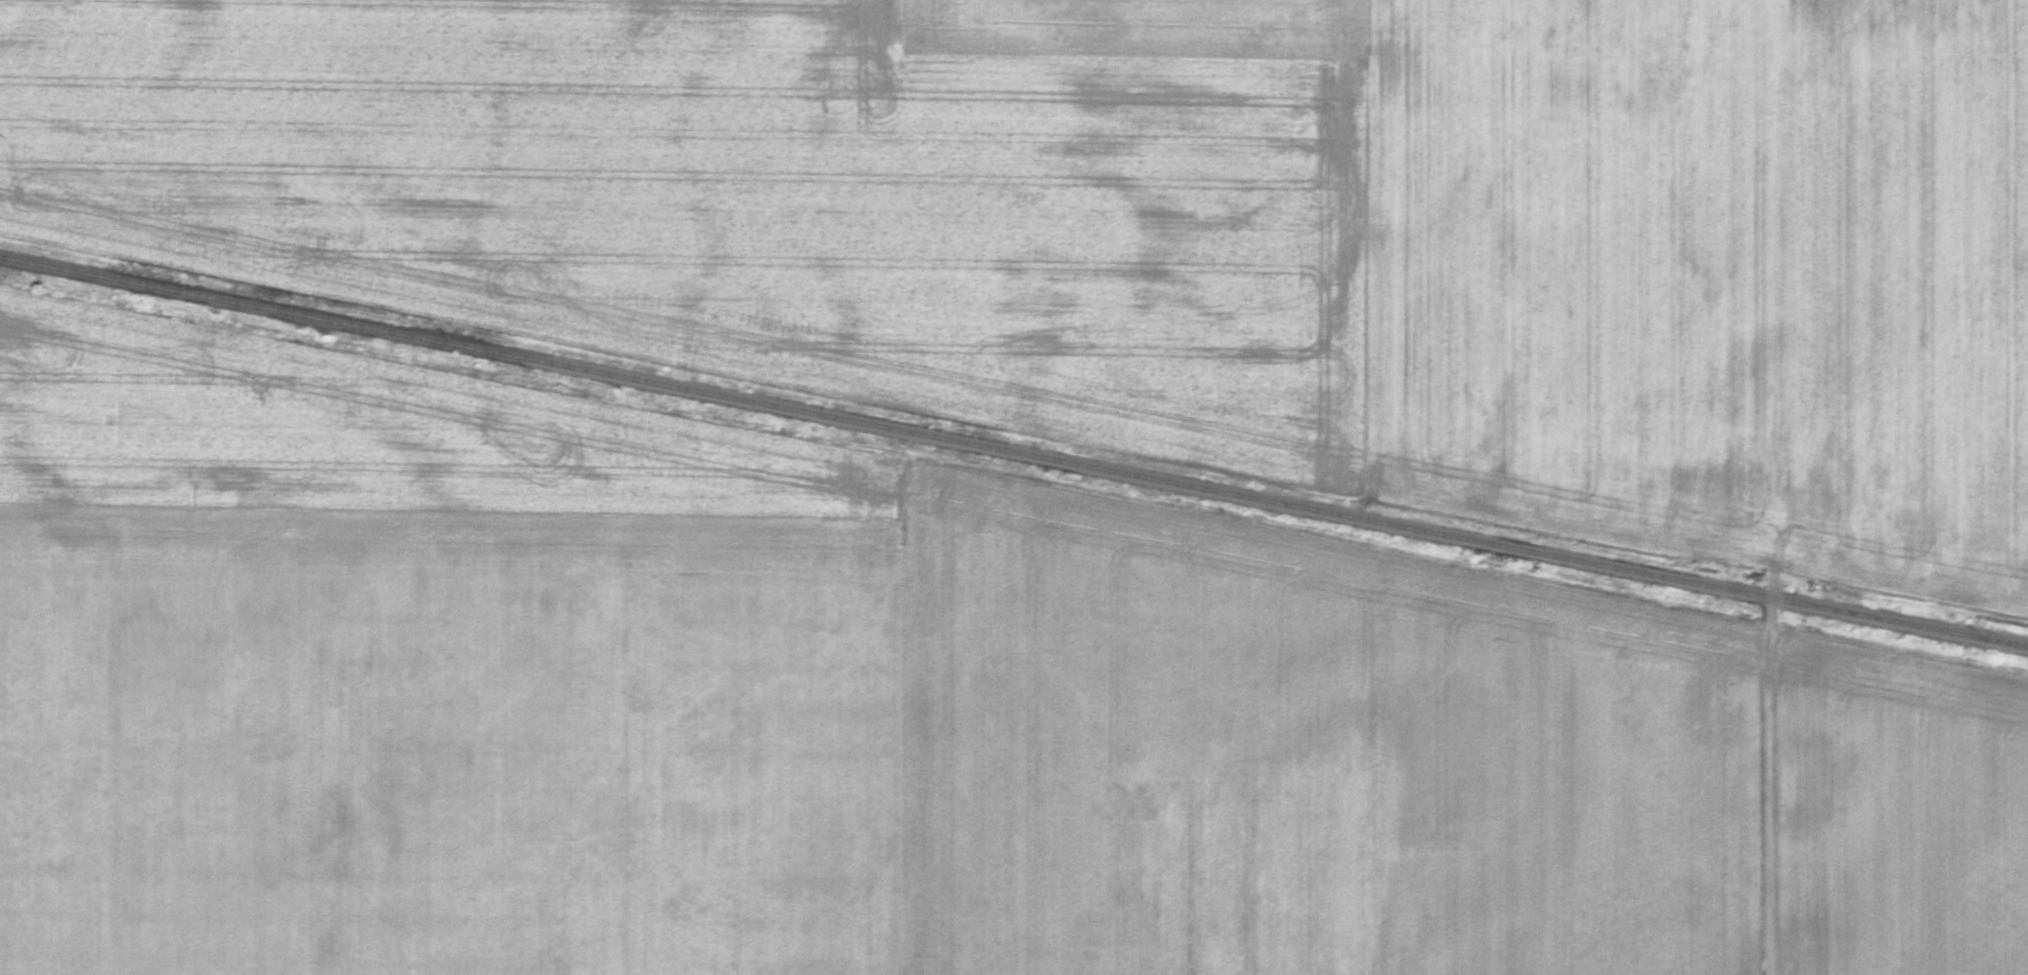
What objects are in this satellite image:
railway: (1014, 451)

